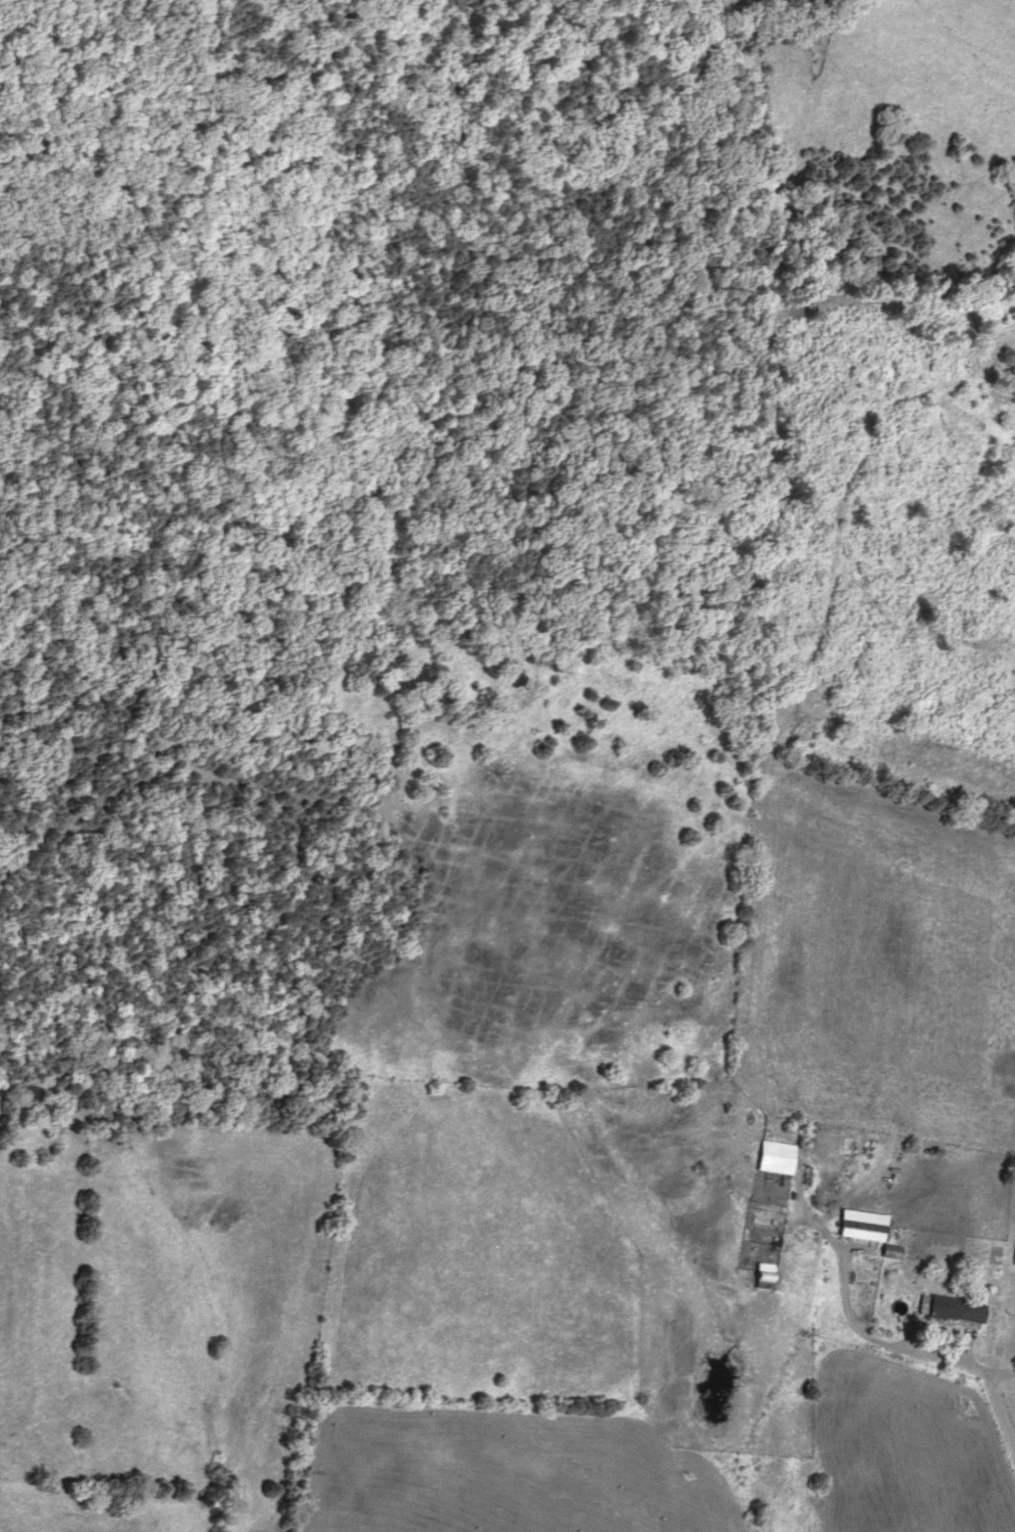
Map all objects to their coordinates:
building: (778, 1158)
building: (864, 1231)
building: (1014, 1256)
building: (765, 1281)
building: (952, 1310)
road: (902, 1349)
road: (999, 1375)

